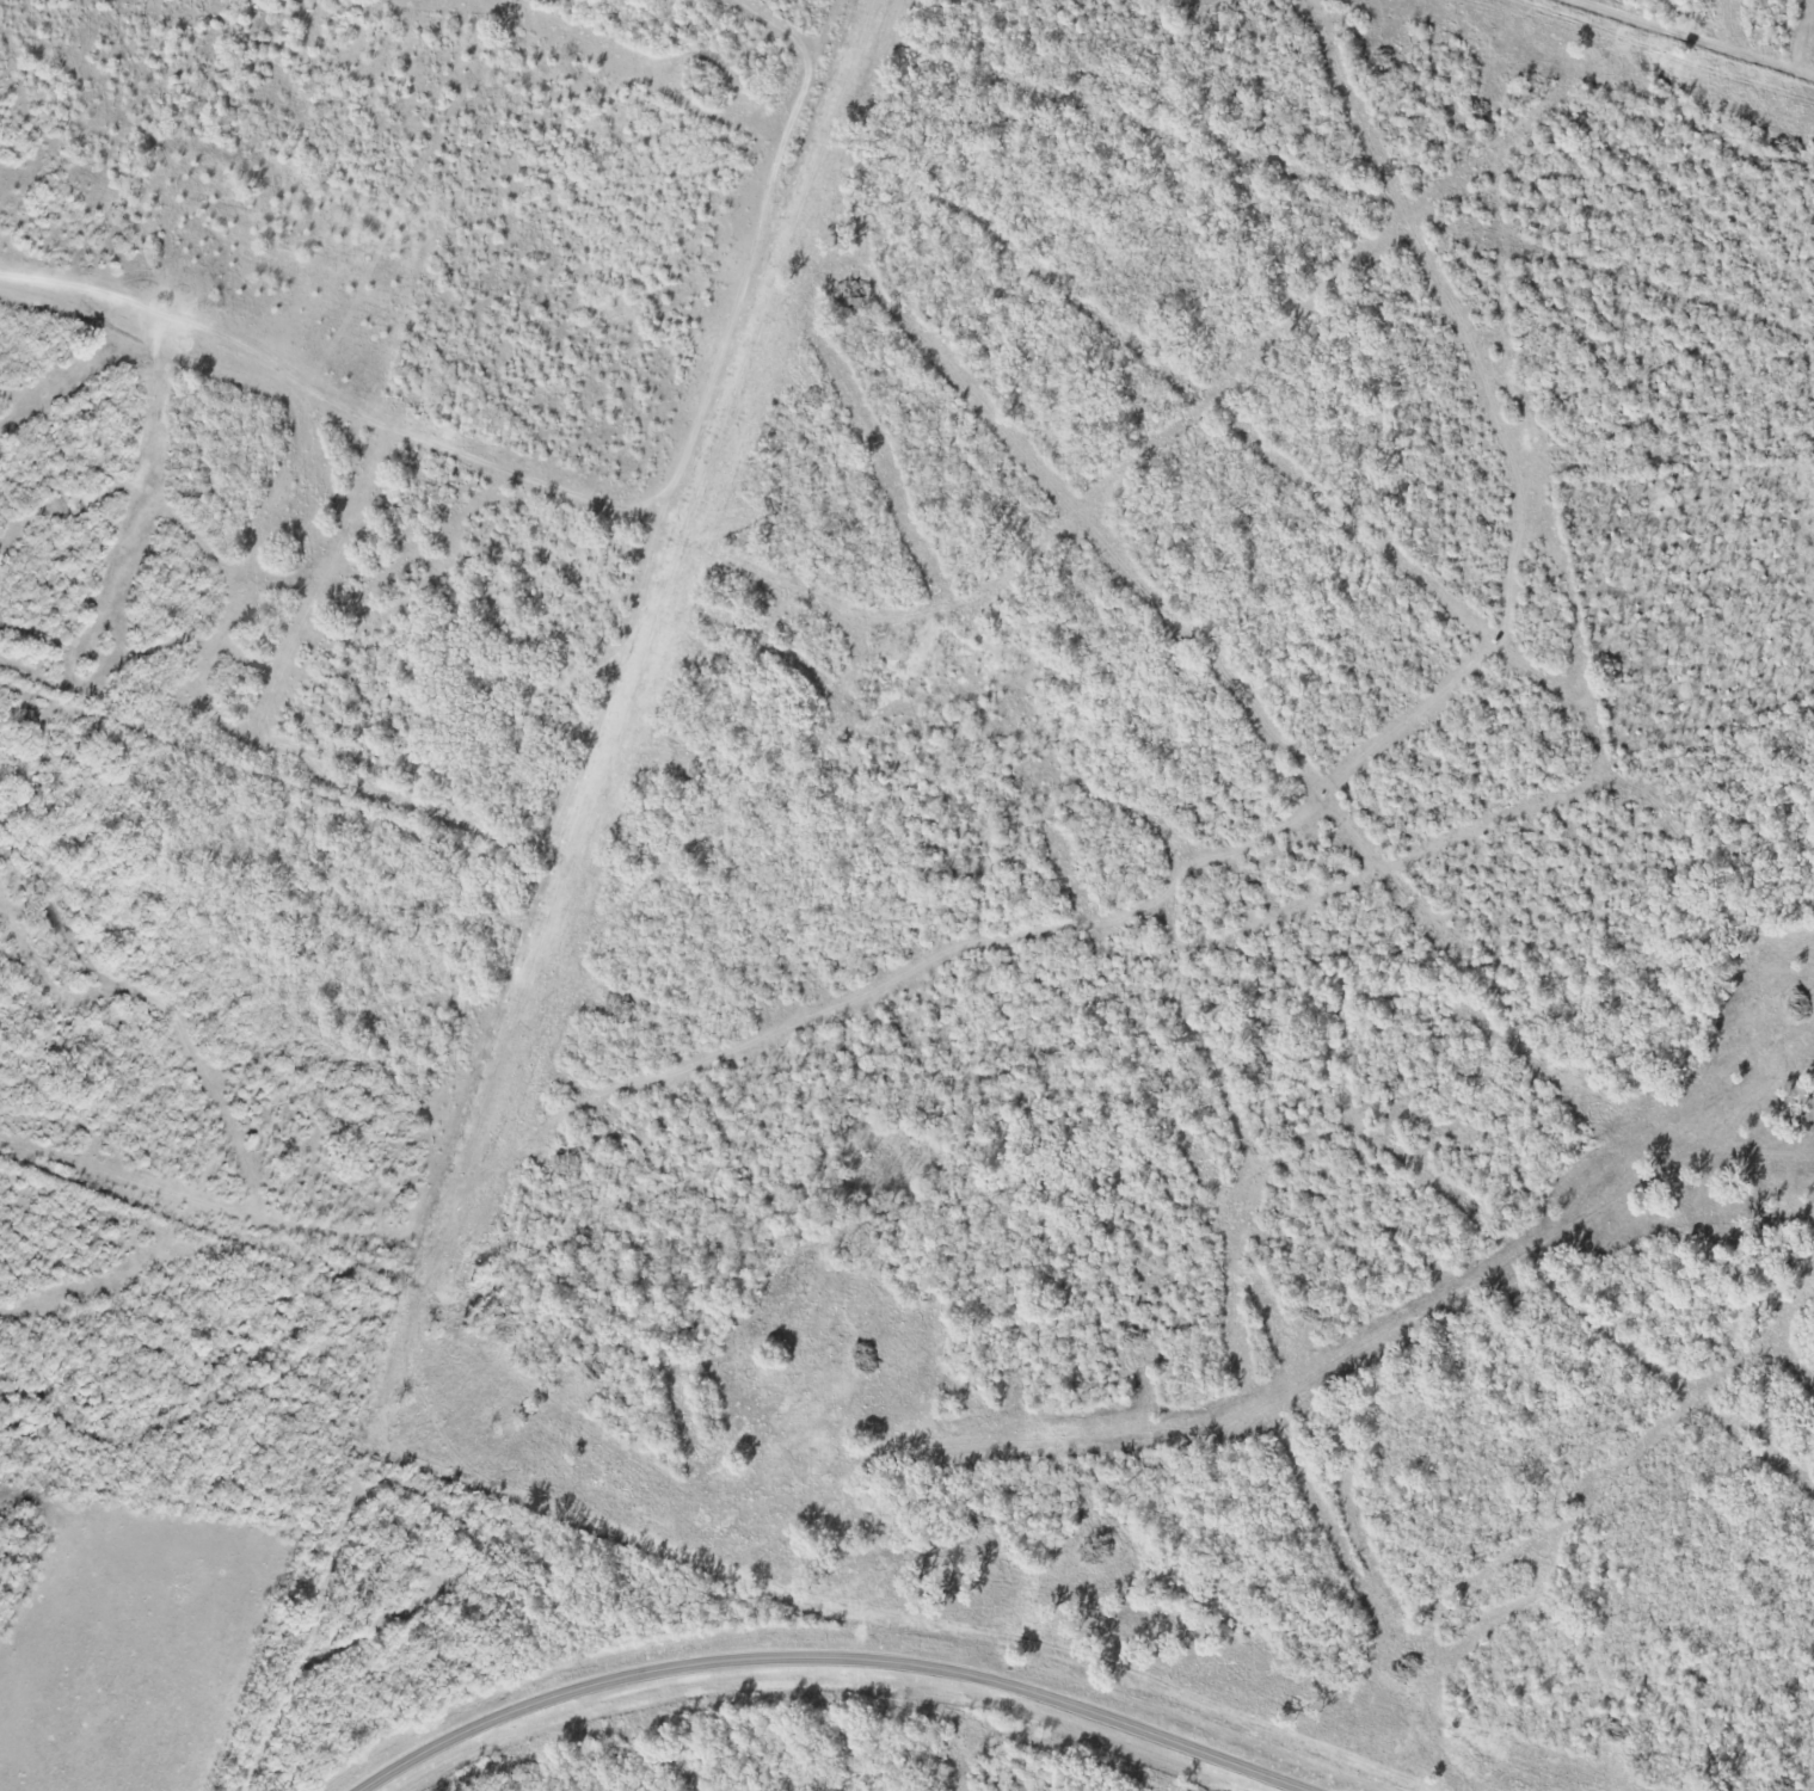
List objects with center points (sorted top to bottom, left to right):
road: (835, 1658)

